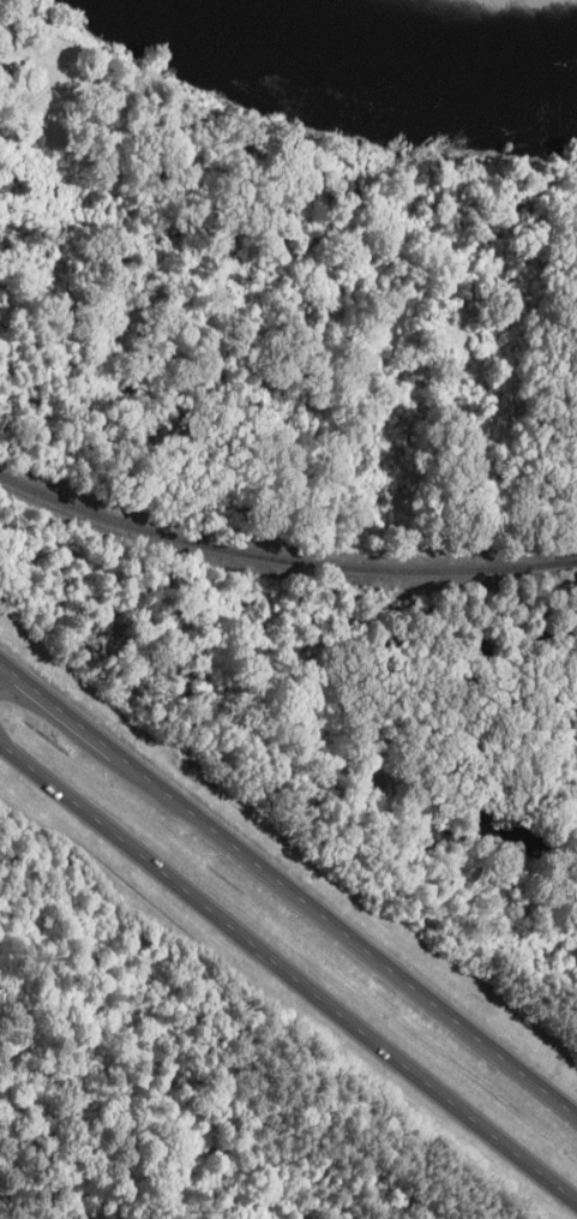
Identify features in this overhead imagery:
river: (379, 44)
railway: (281, 560)
road: (288, 885)
road: (289, 963)

